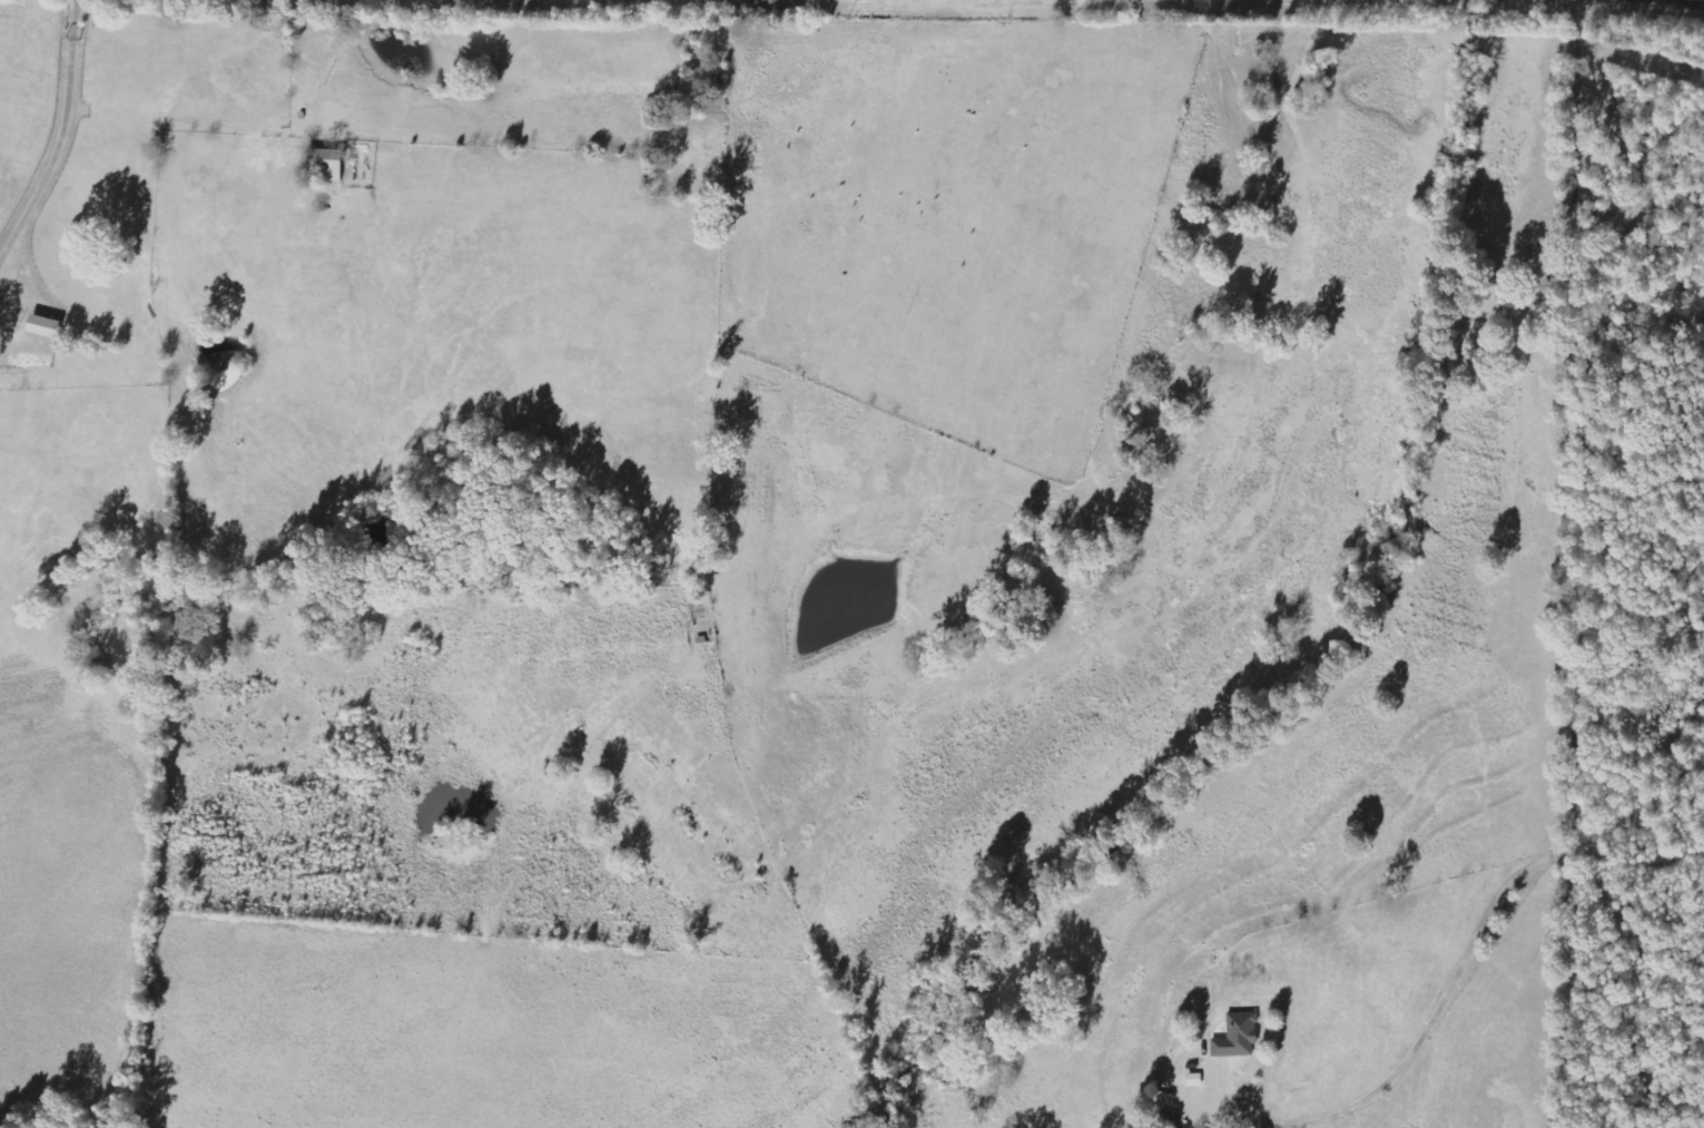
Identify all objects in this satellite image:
road: (1700, 0)
road: (62, 135)
building: (323, 164)
building: (38, 326)
road: (1577, 563)
road: (1444, 1019)
building: (1234, 1037)
building: (1191, 1080)

